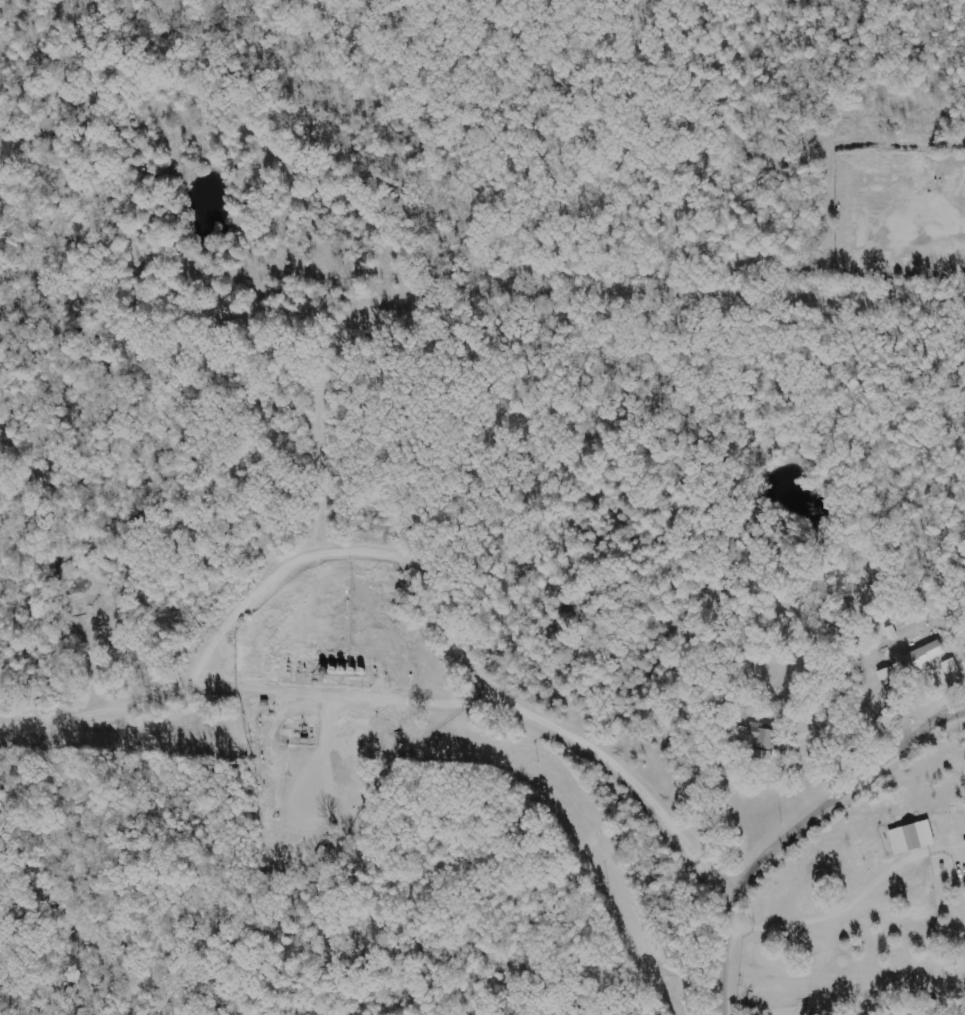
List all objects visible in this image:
park: (371, 145)
building: (921, 656)
building: (949, 666)
building: (763, 741)
road: (860, 788)
building: (908, 838)
road: (858, 891)
road: (734, 938)

